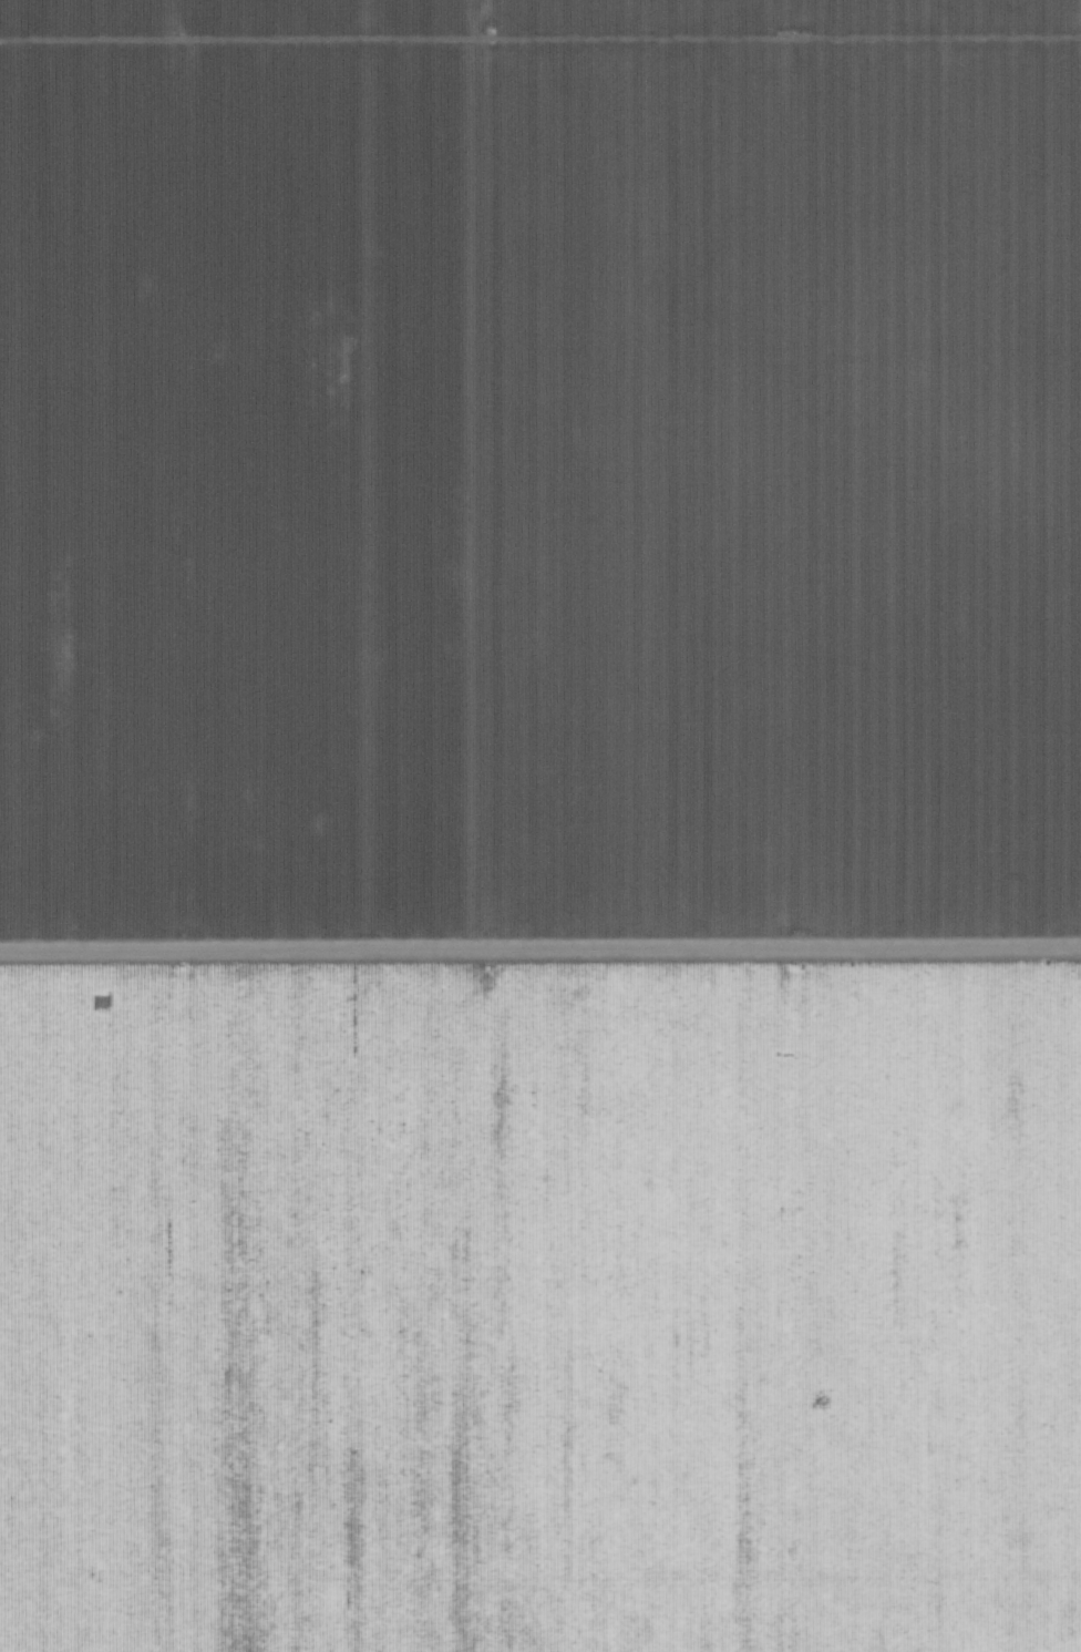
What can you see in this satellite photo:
crop: (540, 825)

